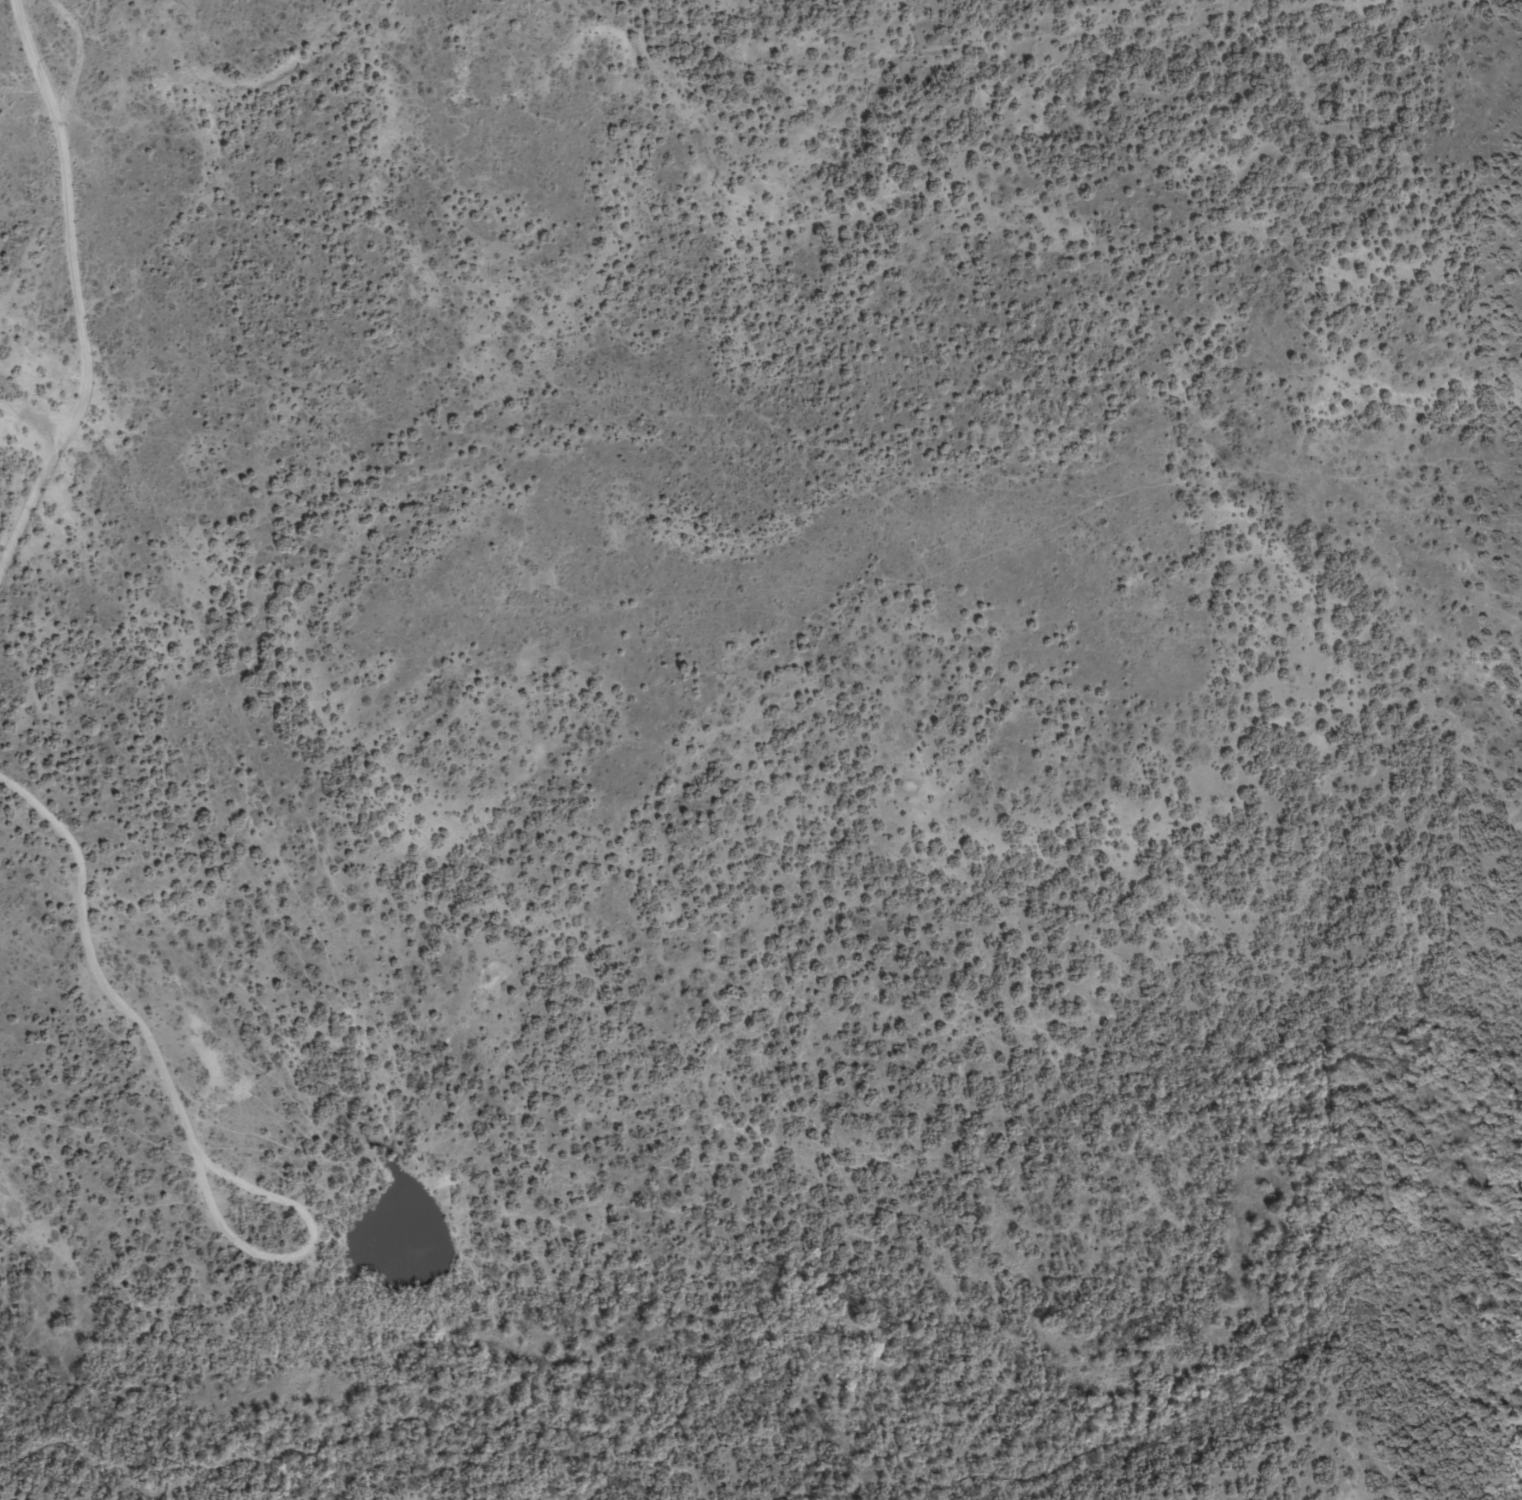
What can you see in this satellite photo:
road: (8, 308)

